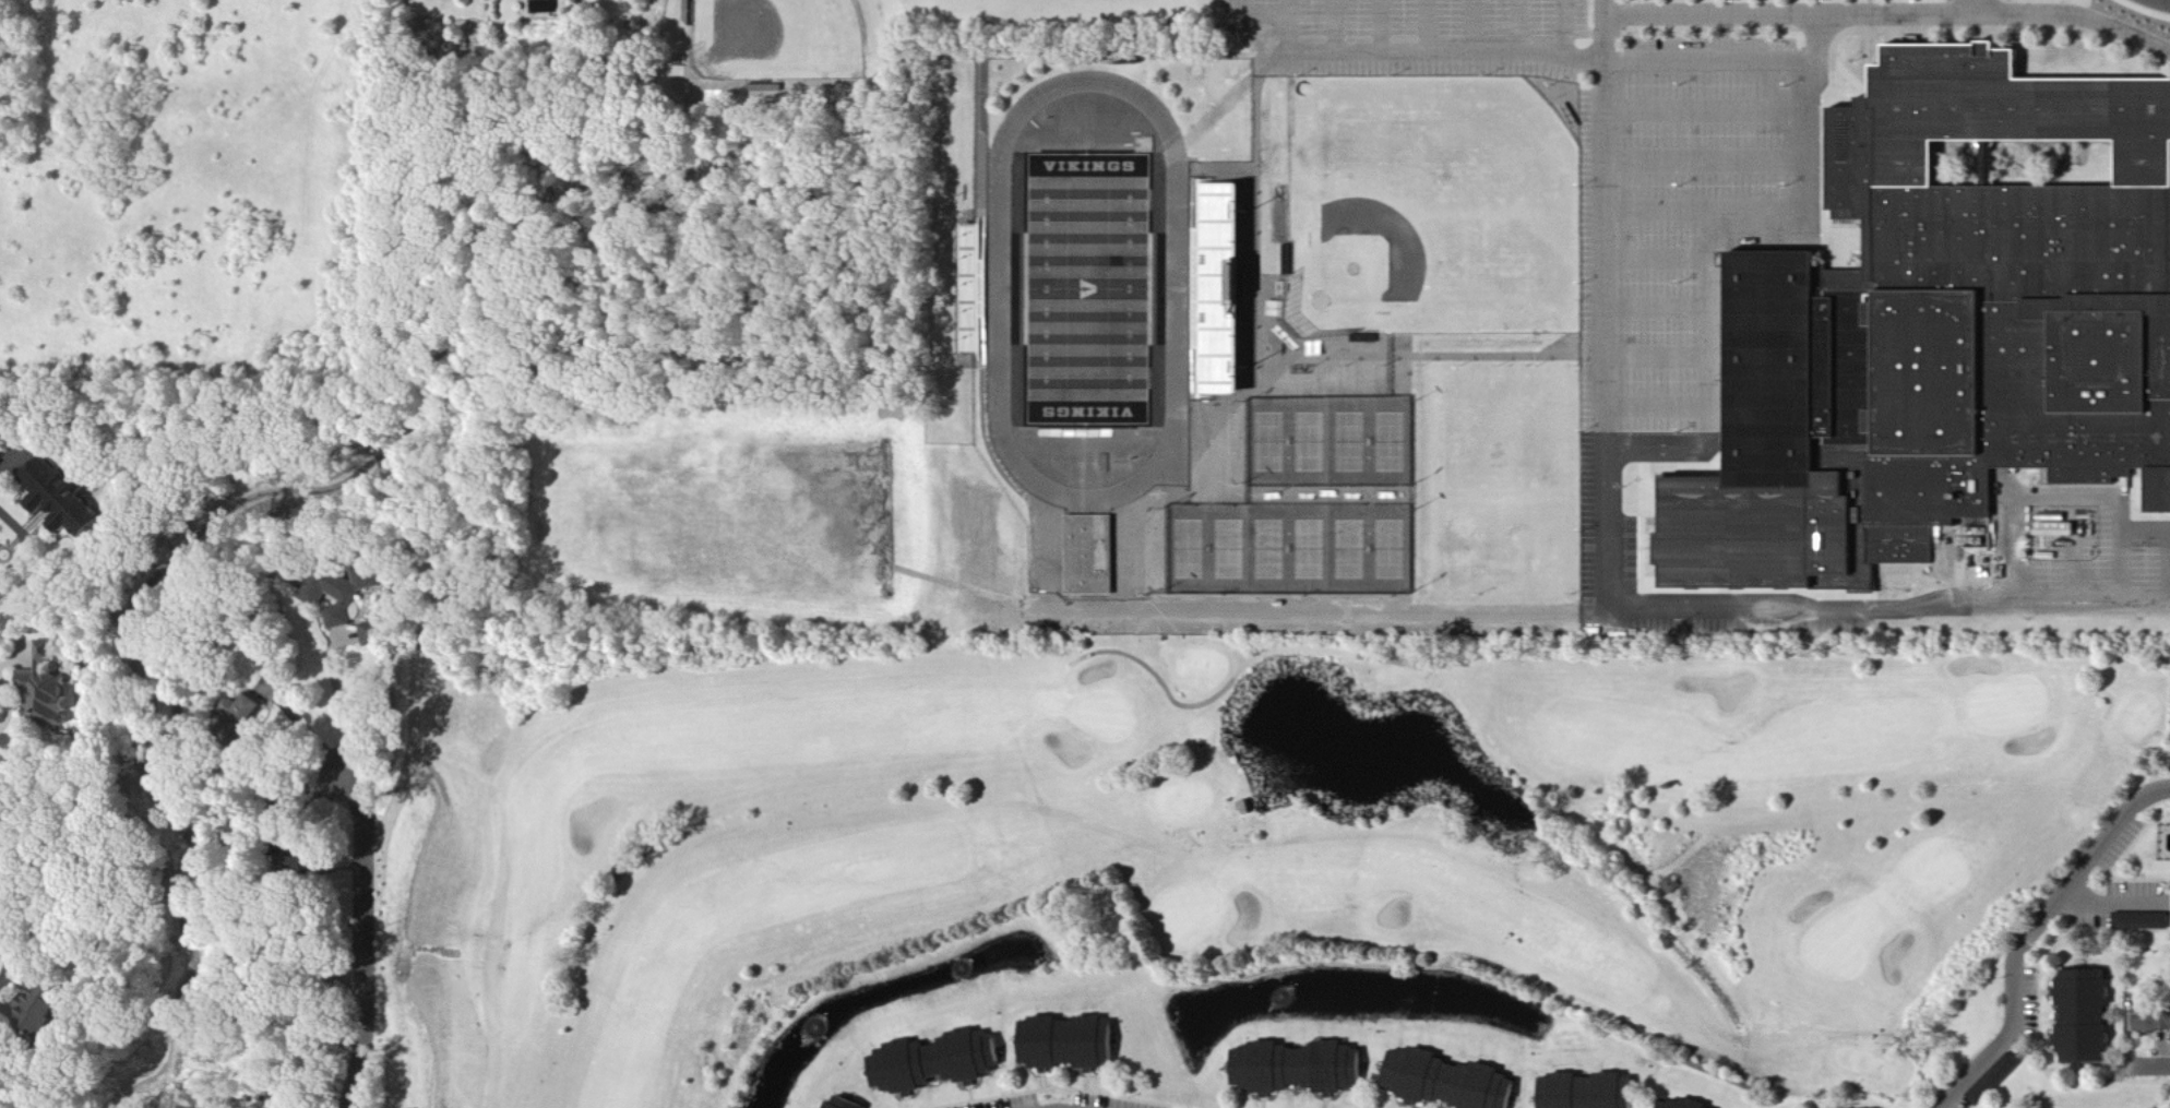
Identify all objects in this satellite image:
road: (1982, 5)
road: (1891, 11)
road: (2143, 11)
road: (1285, 24)
road: (1330, 24)
road: (1376, 24)
road: (1422, 24)
road: (1467, 24)
road: (1516, 24)
road: (1560, 27)
park: (777, 38)
road: (1383, 48)
road: (1581, 57)
road: (1708, 59)
park: (1432, 207)
road: (1733, 242)
park: (1090, 289)
building: (1226, 289)
track: (1001, 290)
road: (1597, 301)
building: (1941, 319)
park: (1333, 442)
road: (12, 454)
building: (64, 497)
road: (2091, 503)
building: (1995, 532)
building: (2062, 532)
road: (26, 545)
park: (1292, 550)
building: (1089, 553)
building: (351, 596)
road: (1576, 605)
building: (378, 634)
building: (48, 689)
road: (338, 694)
building: (248, 713)
road: (302, 722)
park: (1244, 838)
building: (1672, 886)
building: (2138, 921)
road: (2031, 937)
road: (363, 938)
road: (11, 955)
building: (38, 1010)
building: (2076, 1017)
building: (2148, 1021)
road: (0, 1029)
building: (1073, 1044)
building: (941, 1062)
road: (2150, 1065)
building: (1304, 1069)
building: (1990, 1080)
building: (1454, 1083)
building: (848, 1105)
building: (1689, 1105)

